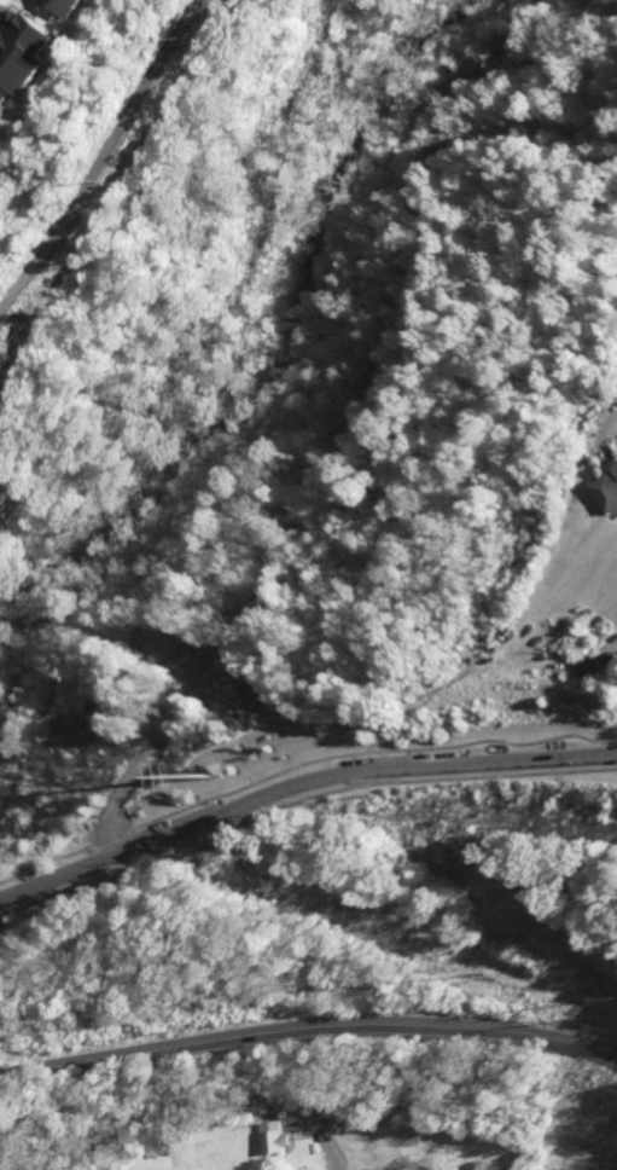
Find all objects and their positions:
building: (62, 6)
building: (17, 51)
building: (609, 491)
power tower: (206, 777)
road: (298, 784)
road: (308, 1025)
building: (267, 1136)
road: (327, 1157)

